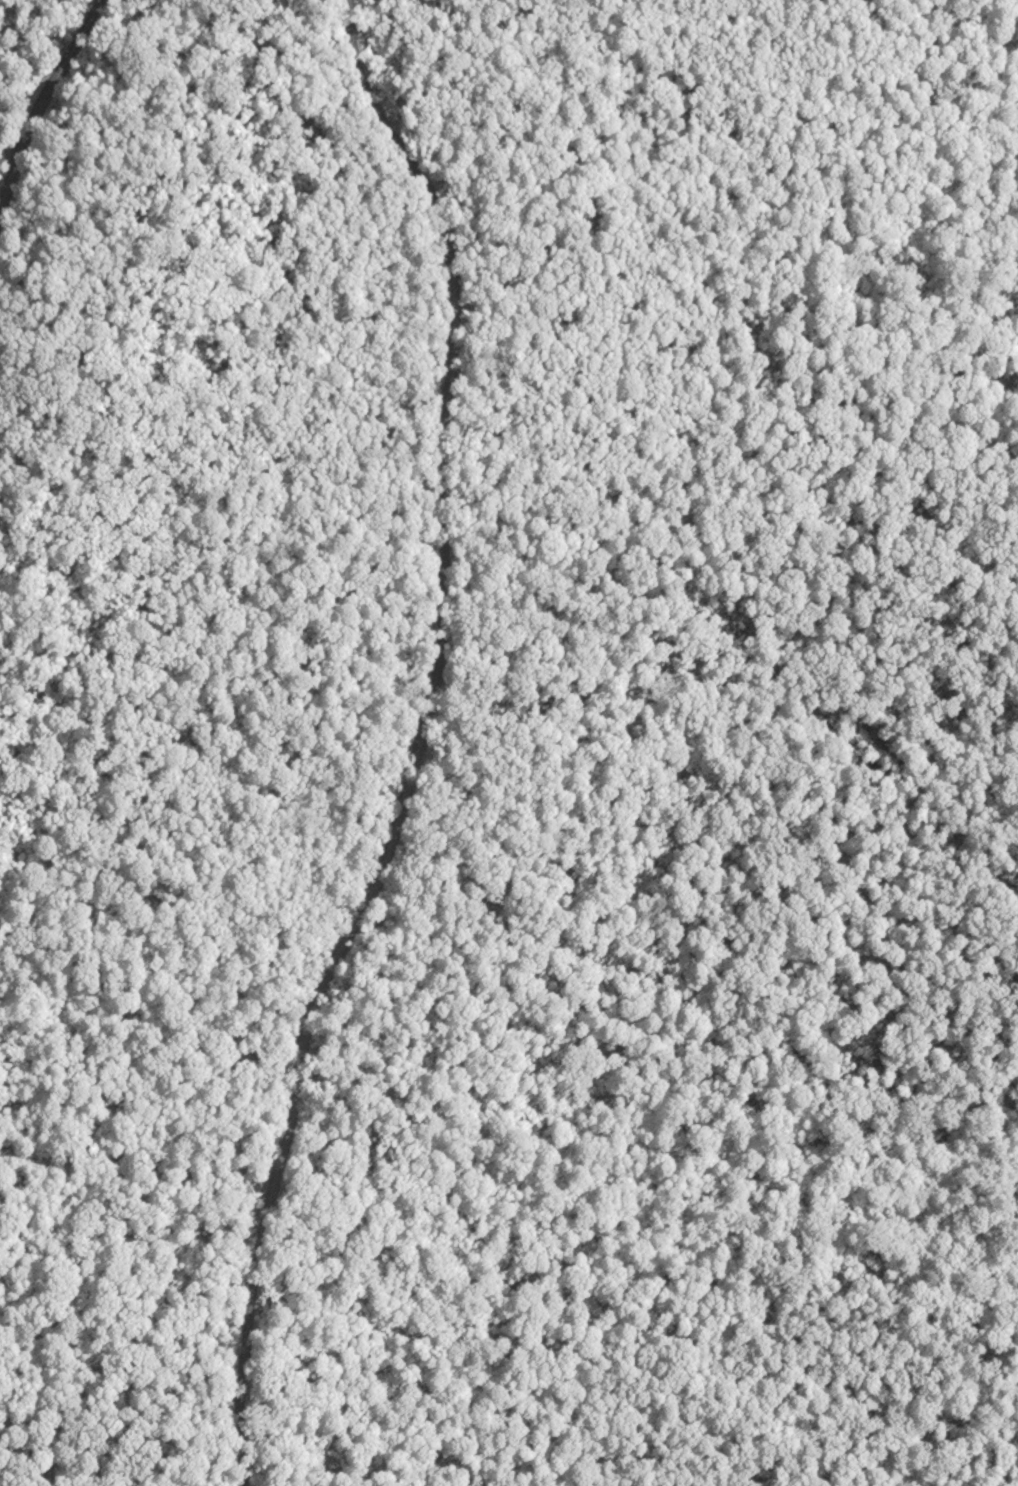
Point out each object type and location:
road: (42, 103)
road: (418, 744)

